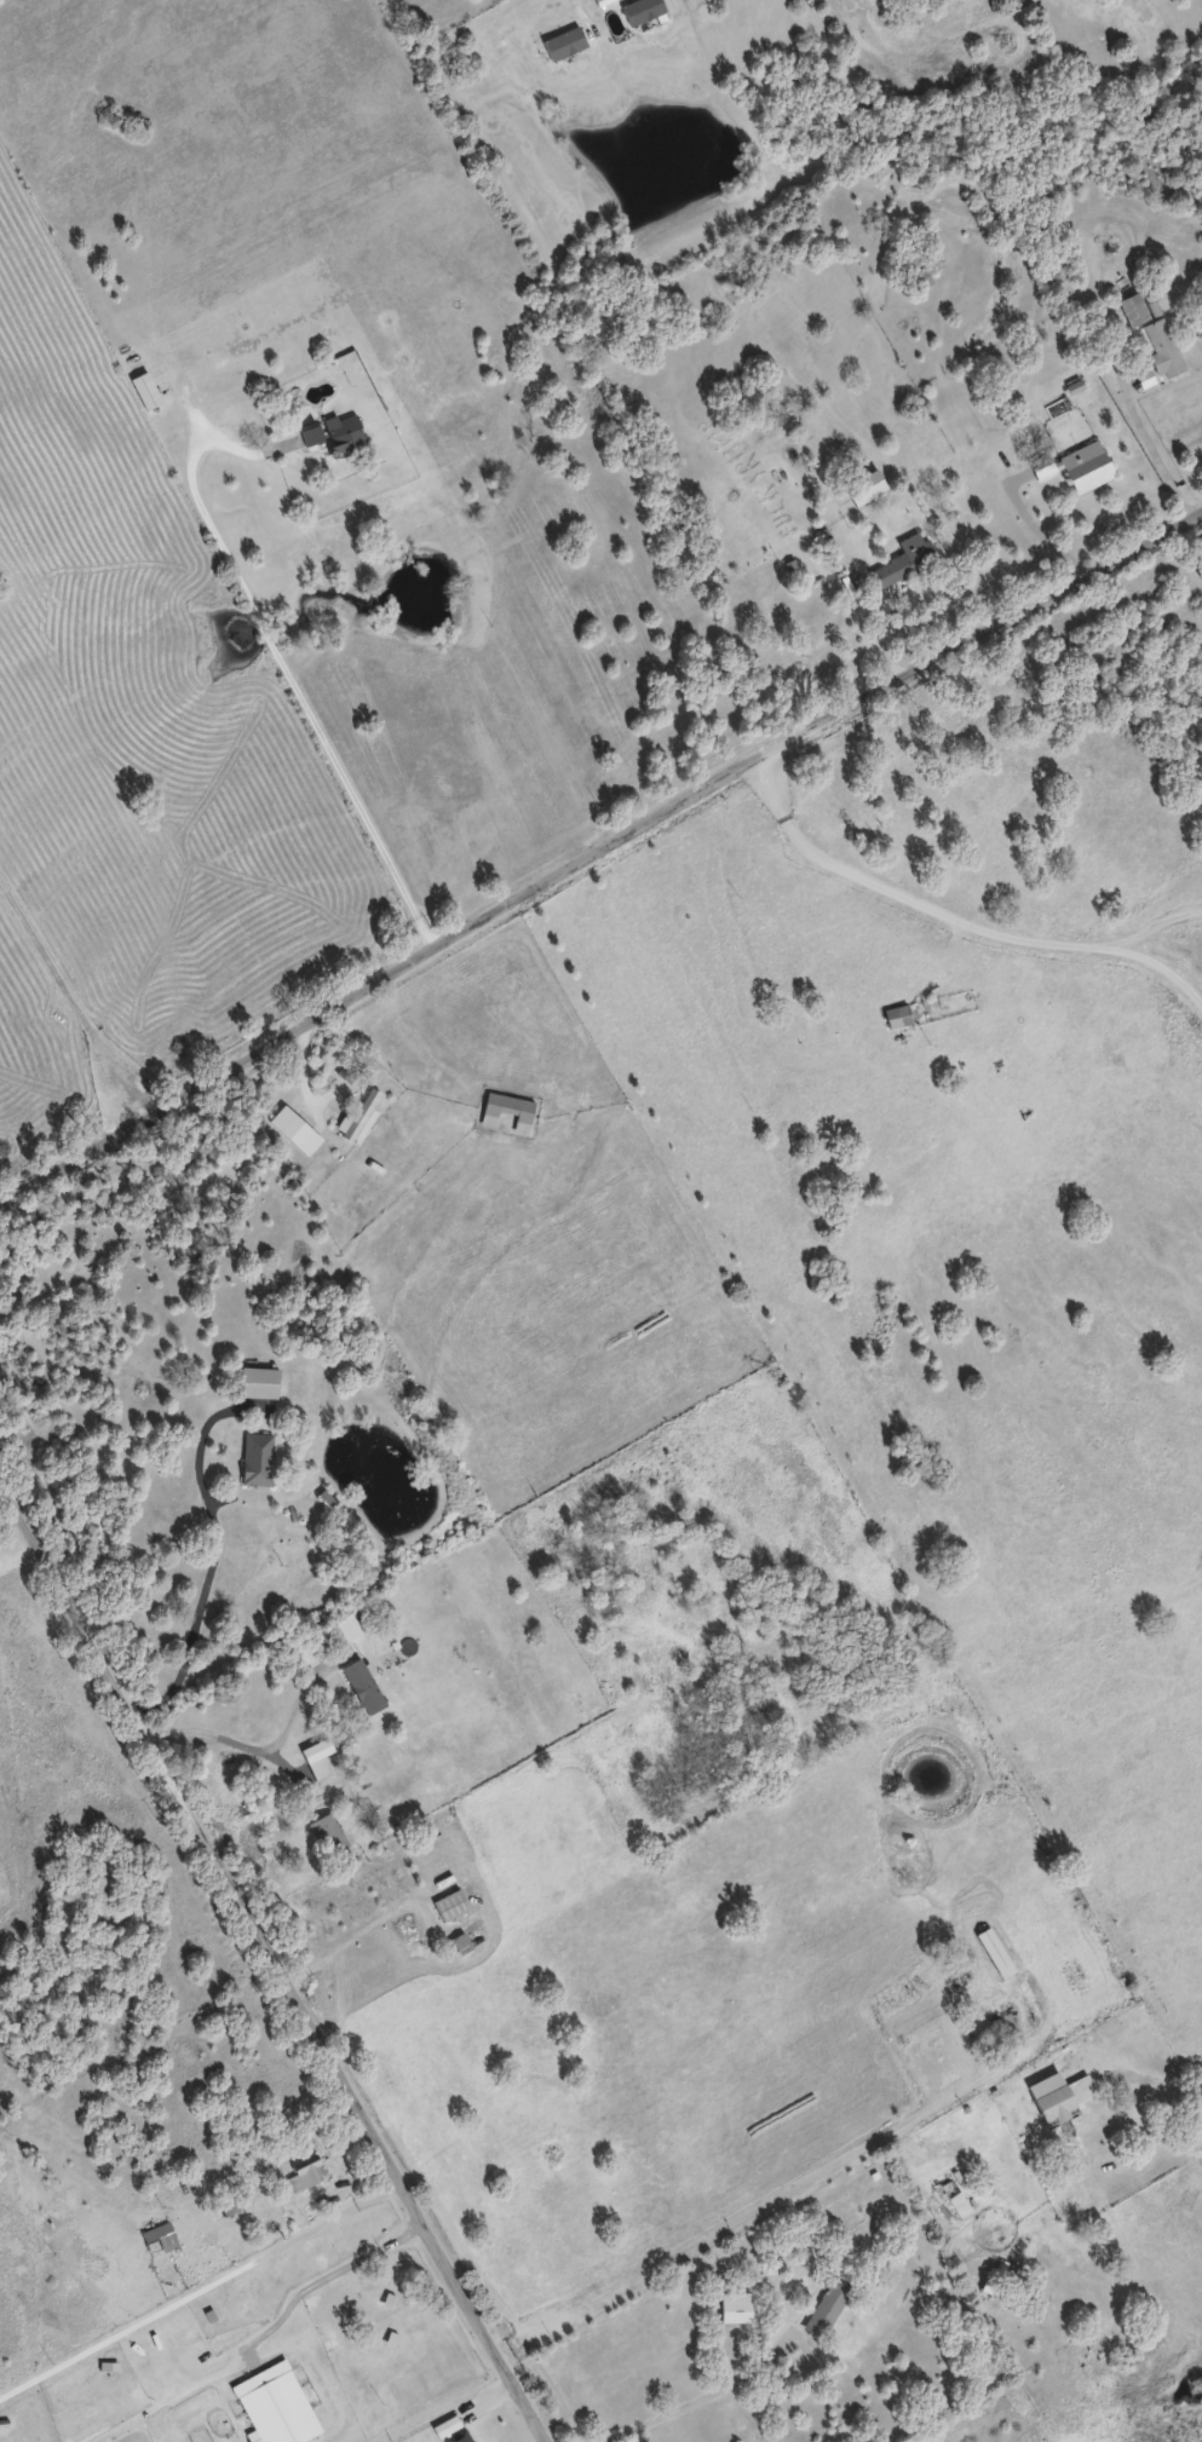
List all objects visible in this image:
building: (638, 10)
building: (560, 42)
building: (1085, 271)
building: (1132, 307)
building: (1160, 346)
building: (142, 388)
road: (1135, 420)
building: (339, 432)
building: (305, 434)
building: (776, 437)
building: (1040, 465)
building: (1083, 466)
building: (902, 563)
road: (294, 686)
road: (597, 845)
road: (953, 918)
road: (69, 996)
building: (895, 1016)
building: (505, 1110)
building: (360, 1116)
building: (293, 1129)
building: (255, 1381)
building: (255, 1458)
road: (21, 1545)
road: (217, 1561)
building: (364, 1683)
road: (264, 1746)
building: (312, 1752)
building: (324, 1832)
building: (448, 1904)
building: (459, 1942)
road: (278, 1949)
building: (993, 1951)
road: (1161, 2084)
building: (1048, 2097)
building: (303, 2171)
building: (157, 2237)
road: (322, 2279)
road: (203, 2286)
building: (821, 2304)
building: (734, 2305)
road: (702, 2403)
building: (275, 2404)
building: (458, 2436)

